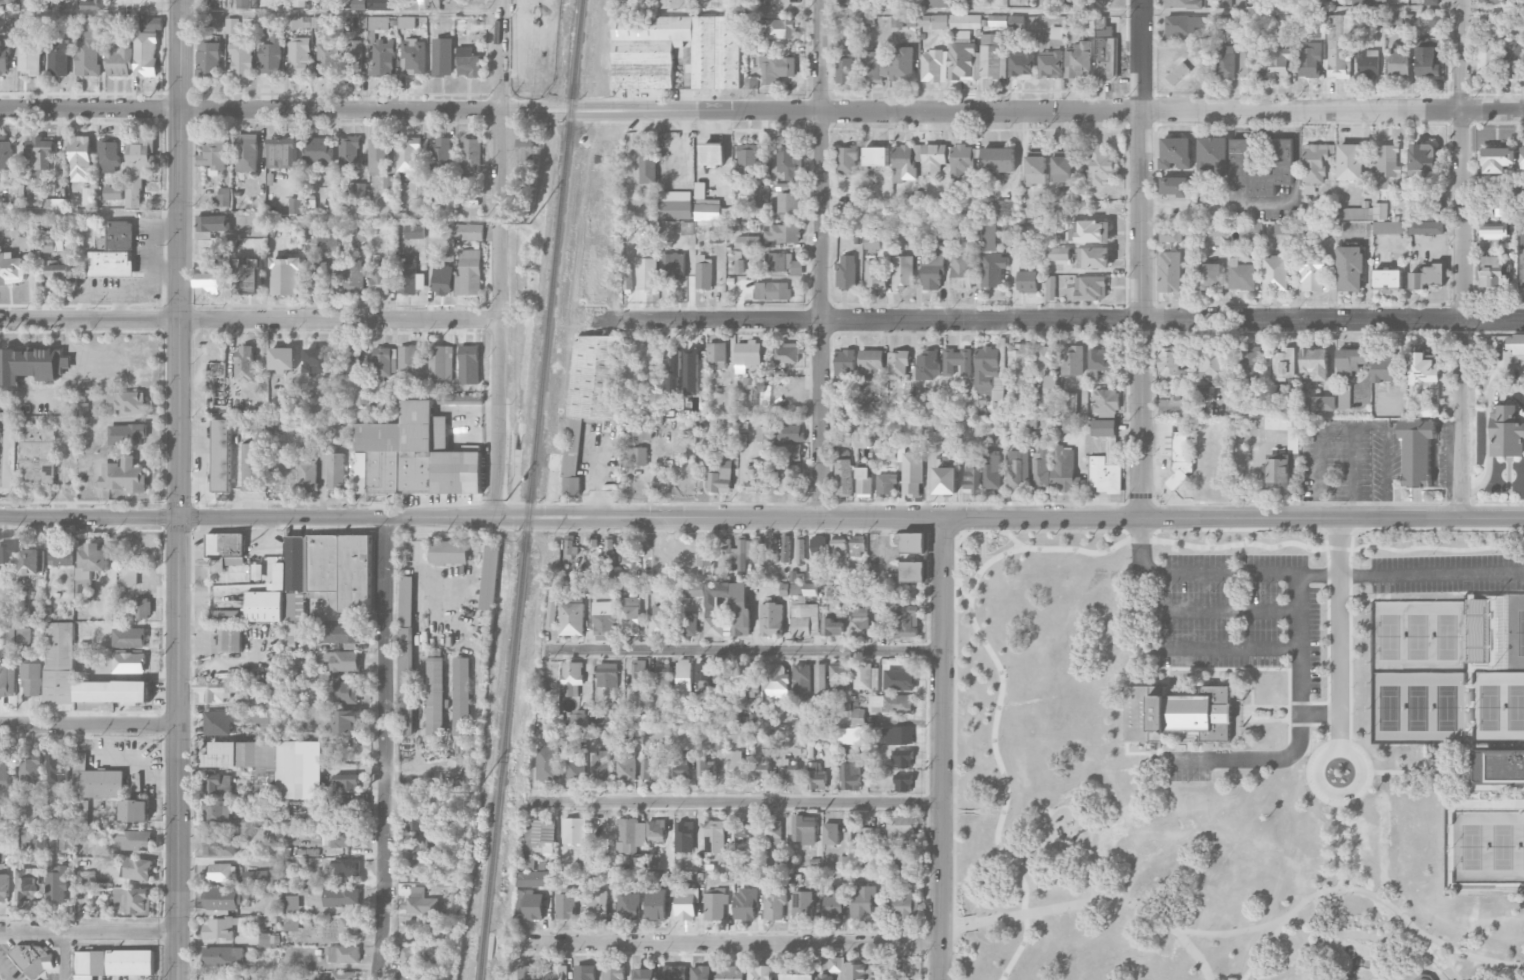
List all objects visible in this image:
building: (1379, 1)
building: (1491, 1)
building: (848, 2)
building: (1365, 2)
building: (1430, 2)
building: (299, 3)
building: (937, 3)
building: (1095, 3)
building: (1183, 3)
building: (1225, 3)
building: (92, 4)
building: (242, 4)
building: (330, 4)
building: (358, 4)
building: (422, 4)
building: (679, 4)
building: (382, 5)
road: (935, 10)
road: (1287, 12)
road: (250, 13)
building: (1436, 19)
building: (1398, 20)
building: (896, 21)
building: (934, 21)
building: (964, 21)
building: (1007, 21)
building: (359, 22)
building: (406, 22)
building: (9, 23)
building: (153, 23)
building: (1225, 23)
building: (120, 24)
building: (231, 25)
building: (261, 25)
building: (377, 25)
building: (1182, 25)
building: (777, 27)
building: (208, 53)
building: (146, 54)
building: (1105, 54)
building: (4, 55)
building: (88, 55)
building: (270, 56)
building: (413, 56)
building: (991, 56)
building: (383, 57)
building: (442, 57)
building: (29, 58)
building: (58, 58)
building: (241, 58)
building: (298, 58)
building: (327, 58)
building: (353, 58)
building: (1077, 58)
building: (1248, 58)
building: (1309, 58)
building: (1514, 59)
building: (1279, 60)
building: (119, 61)
building: (962, 61)
building: (1225, 61)
building: (1426, 61)
building: (467, 62)
building: (1367, 62)
building: (1397, 62)
building: (902, 63)
building: (1021, 63)
building: (1050, 63)
building: (1486, 63)
building: (934, 66)
building: (643, 67)
building: (777, 68)
building: (843, 70)
building: (1177, 73)
building: (539, 84)
road: (761, 112)
road: (727, 122)
road: (698, 123)
road: (712, 133)
building: (525, 149)
building: (319, 150)
building: (247, 152)
building: (1175, 152)
building: (5, 153)
building: (283, 153)
building: (350, 153)
building: (713, 154)
building: (214, 155)
building: (408, 155)
building: (472, 155)
building: (1212, 155)
building: (39, 156)
building: (108, 156)
building: (379, 156)
building: (875, 156)
building: (1240, 156)
building: (440, 157)
building: (935, 157)
building: (80, 158)
building: (748, 158)
building: (1421, 158)
building: (1522, 158)
building: (847, 159)
building: (998, 159)
building: (1497, 159)
building: (962, 160)
building: (789, 161)
building: (1350, 161)
building: (906, 162)
building: (1316, 163)
building: (1101, 166)
building: (1386, 166)
building: (1036, 167)
building: (647, 168)
building: (138, 169)
building: (1063, 169)
road: (712, 178)
building: (1174, 185)
building: (113, 192)
building: (760, 194)
building: (88, 196)
building: (223, 197)
building: (55, 204)
building: (674, 204)
building: (295, 205)
building: (786, 205)
building: (1005, 207)
building: (1436, 209)
building: (1364, 212)
road: (90, 213)
building: (213, 223)
power tower: (529, 225)
building: (1389, 227)
building: (1426, 227)
building: (1284, 228)
building: (1216, 229)
building: (1250, 229)
building: (1493, 230)
building: (414, 231)
building: (1089, 231)
building: (469, 232)
building: (780, 232)
building: (715, 234)
building: (1009, 234)
building: (119, 235)
building: (1169, 235)
building: (328, 236)
building: (988, 237)
building: (748, 241)
building: (872, 241)
building: (52, 245)
building: (1056, 253)
building: (1523, 257)
road: (501, 258)
road: (821, 258)
building: (1094, 258)
road: (1139, 258)
road: (1462, 258)
building: (110, 263)
building: (784, 263)
building: (933, 264)
building: (673, 265)
building: (1350, 266)
building: (11, 268)
building: (992, 268)
building: (847, 271)
building: (902, 271)
building: (961, 271)
building: (1169, 271)
building: (647, 272)
building: (704, 272)
building: (1493, 272)
building: (469, 273)
building: (1313, 273)
building: (59, 274)
building: (875, 274)
building: (1276, 274)
building: (248, 275)
building: (286, 275)
building: (351, 275)
building: (1241, 275)
building: (208, 276)
building: (317, 276)
building: (409, 276)
building: (1209, 276)
building: (1426, 277)
building: (627, 278)
building: (442, 279)
building: (379, 280)
building: (1387, 280)
building: (1028, 282)
building: (1090, 288)
building: (772, 290)
road: (250, 320)
road: (1058, 320)
building: (1515, 343)
building: (786, 354)
building: (717, 355)
building: (747, 355)
building: (282, 358)
building: (408, 358)
building: (469, 358)
building: (1018, 358)
building: (316, 360)
building: (1074, 360)
building: (1100, 360)
building: (349, 361)
building: (380, 361)
building: (871, 361)
building: (1351, 361)
building: (957, 362)
building: (1254, 362)
building: (245, 363)
building: (441, 363)
building: (845, 363)
building: (1284, 363)
building: (1315, 363)
building: (898, 364)
building: (1172, 364)
building: (32, 365)
building: (927, 365)
building: (1214, 367)
building: (1047, 369)
building: (1387, 369)
building: (1424, 372)
building: (990, 373)
building: (753, 390)
building: (590, 394)
building: (1344, 396)
building: (878, 398)
building: (460, 399)
building: (127, 401)
building: (1105, 402)
building: (1324, 403)
building: (1063, 405)
building: (1426, 409)
road: (1356, 424)
building: (1072, 425)
building: (9, 430)
building: (642, 430)
building: (1508, 430)
building: (790, 433)
building: (126, 434)
building: (764, 434)
building: (1173, 436)
building: (861, 442)
building: (1416, 451)
building: (790, 452)
building: (36, 454)
building: (221, 454)
building: (416, 455)
building: (637, 455)
building: (1105, 458)
building: (1042, 464)
building: (1016, 466)
building: (252, 467)
building: (992, 469)
building: (1063, 469)
road: (1355, 470)
building: (334, 471)
building: (912, 473)
building: (306, 474)
building: (124, 475)
building: (843, 477)
building: (787, 478)
building: (720, 479)
building: (757, 479)
building: (972, 479)
building: (945, 480)
building: (864, 481)
building: (8, 482)
building: (886, 483)
road: (597, 485)
building: (359, 487)
road: (178, 489)
railway: (530, 489)
power tower: (505, 500)
road: (176, 505)
road: (162, 516)
road: (190, 516)
road: (1172, 516)
traffic signals: (178, 517)
road: (410, 517)
road: (383, 526)
road: (280, 527)
road: (176, 528)
road: (1430, 528)
road: (1173, 529)
road: (1261, 529)
road: (908, 530)
road: (1012, 538)
road: (1324, 538)
road: (1141, 540)
building: (817, 542)
building: (911, 542)
building: (857, 545)
building: (226, 547)
building: (570, 547)
building: (609, 547)
building: (772, 547)
road: (982, 547)
road: (1336, 547)
building: (786, 548)
building: (838, 548)
building: (626, 550)
building: (801, 550)
building: (449, 552)
building: (736, 553)
building: (704, 555)
building: (61, 556)
road: (969, 557)
building: (5, 559)
building: (32, 561)
road: (1215, 566)
building: (90, 569)
building: (911, 572)
building: (612, 573)
road: (1431, 574)
building: (314, 575)
parking lot: (1438, 576)
building: (490, 577)
building: (693, 589)
road: (962, 589)
building: (566, 591)
road: (1301, 605)
building: (714, 607)
building: (143, 608)
building: (740, 610)
building: (803, 610)
building: (630, 616)
parking lot: (1249, 618)
building: (572, 619)
building: (771, 619)
building: (604, 620)
building: (660, 620)
building: (860, 622)
building: (687, 623)
building: (906, 623)
building: (832, 626)
road: (1338, 626)
building: (1478, 631)
building: (292, 633)
stadium: (1494, 633)
building: (339, 634)
park: (1517, 634)
building: (7, 635)
building: (23, 637)
building: (128, 637)
building: (230, 639)
road: (1237, 643)
road: (744, 650)
road: (926, 650)
building: (60, 651)
building: (405, 655)
building: (341, 660)
building: (127, 663)
road: (954, 667)
building: (607, 675)
building: (639, 675)
building: (749, 676)
building: (866, 676)
building: (820, 677)
building: (838, 677)
building: (7, 678)
building: (572, 678)
building: (662, 678)
building: (703, 678)
building: (32, 679)
building: (899, 679)
building: (684, 680)
building: (776, 681)
park: (1437, 681)
building: (802, 683)
building: (233, 688)
building: (346, 692)
building: (435, 693)
building: (461, 696)
road: (1000, 699)
building: (890, 703)
building: (267, 705)
building: (1176, 711)
building: (857, 715)
building: (581, 717)
building: (262, 721)
building: (345, 721)
building: (219, 722)
road: (89, 727)
road: (926, 732)
building: (851, 735)
building: (895, 735)
road: (1338, 739)
road: (384, 748)
road: (942, 748)
road: (1254, 754)
park: (1240, 755)
building: (903, 759)
building: (734, 760)
building: (266, 761)
building: (547, 763)
building: (601, 765)
building: (626, 765)
building: (680, 765)
building: (1497, 766)
building: (30, 767)
building: (58, 767)
building: (759, 767)
building: (650, 768)
building: (789, 768)
building: (4, 769)
building: (706, 770)
building: (575, 771)
road: (1433, 772)
building: (851, 775)
building: (816, 776)
building: (97, 780)
building: (903, 782)
building: (345, 783)
road: (1488, 786)
building: (218, 787)
power tower: (475, 791)
road: (735, 800)
road: (926, 800)
road: (1486, 804)
building: (346, 808)
building: (135, 810)
building: (217, 812)
building: (421, 822)
building: (901, 824)
building: (574, 829)
building: (804, 829)
building: (656, 830)
building: (742, 831)
building: (773, 832)
building: (830, 833)
building: (630, 834)
building: (684, 835)
building: (867, 835)
building: (346, 836)
building: (539, 836)
building: (714, 836)
building: (133, 840)
building: (417, 842)
building: (64, 843)
building: (219, 845)
park: (1488, 845)
road: (1340, 850)
building: (638, 862)
building: (420, 866)
building: (348, 867)
building: (137, 868)
building: (224, 872)
road: (925, 873)
building: (256, 876)
building: (533, 878)
building: (812, 880)
building: (26, 884)
building: (56, 885)
building: (4, 887)
building: (340, 896)
building: (224, 898)
building: (121, 899)
building: (140, 901)
building: (862, 901)
building: (292, 902)
building: (421, 902)
building: (686, 902)
building: (567, 903)
building: (836, 903)
building: (530, 904)
building: (656, 904)
building: (715, 904)
building: (745, 904)
building: (774, 904)
building: (598, 905)
building: (629, 905)
building: (803, 905)
building: (902, 906)
road: (1152, 914)
building: (291, 924)
building: (347, 926)
building: (223, 927)
building: (418, 927)
road: (89, 932)
road: (1427, 936)
road: (1315, 939)
building: (267, 940)
road: (925, 941)
road: (732, 943)
road: (1392, 947)
road: (1263, 950)
road: (739, 952)
road: (1199, 953)
building: (343, 954)
building: (407, 954)
building: (223, 956)
building: (33, 960)
building: (113, 963)
building: (849, 970)
building: (528, 972)
building: (556, 972)
building: (584, 972)
building: (612, 972)
building: (673, 972)
building: (700, 972)
building: (761, 972)
building: (797, 972)
building: (730, 973)
building: (643, 974)
building: (342, 975)
building: (405, 975)
road: (1511, 975)
building: (320, 976)
building: (1424, 977)

